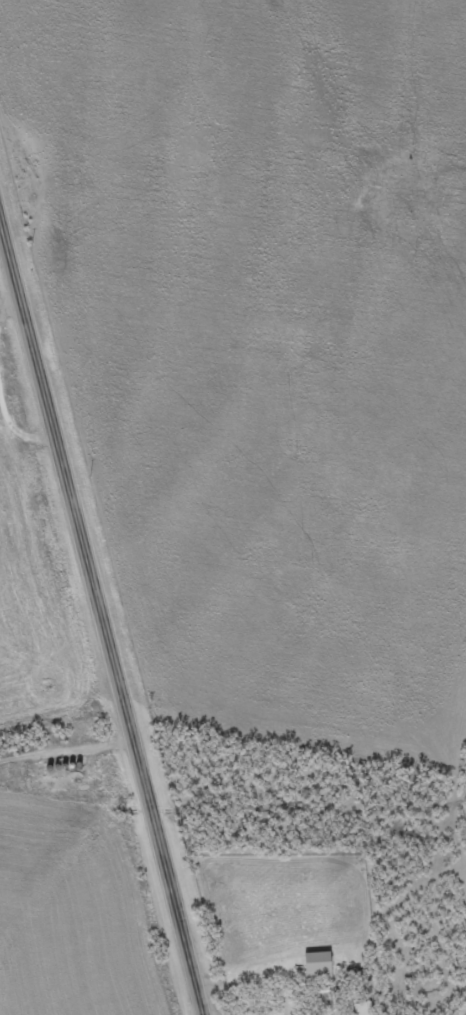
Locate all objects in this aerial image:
road: (94, 648)
building: (314, 973)

